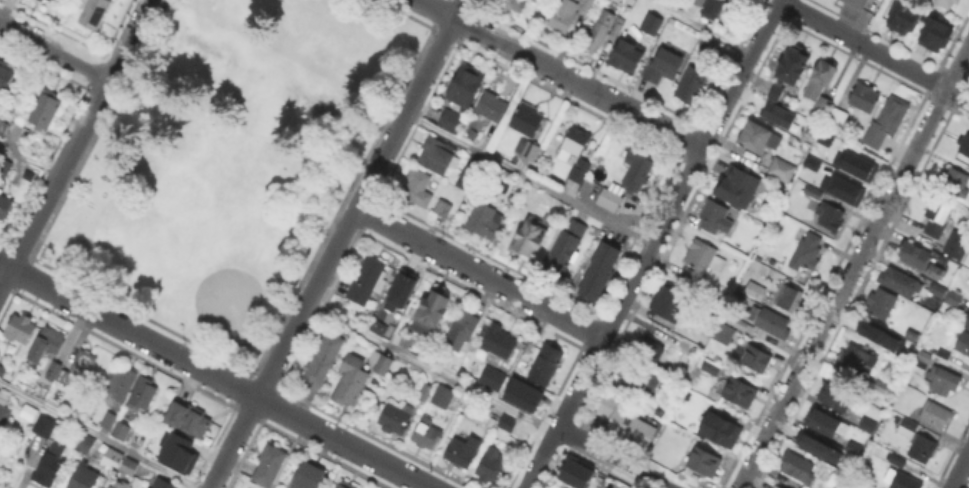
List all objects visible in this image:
building: (49, 0)
building: (747, 1)
building: (698, 2)
building: (857, 3)
building: (947, 3)
building: (510, 5)
building: (588, 5)
building: (715, 6)
building: (94, 13)
building: (899, 15)
building: (563, 17)
road: (872, 22)
building: (650, 23)
road: (698, 27)
building: (600, 32)
building: (932, 32)
building: (708, 44)
road: (873, 50)
road: (53, 51)
building: (624, 56)
building: (793, 65)
building: (662, 66)
road: (561, 74)
building: (5, 75)
park: (260, 75)
building: (692, 84)
building: (467, 86)
building: (773, 91)
building: (820, 91)
building: (865, 98)
building: (47, 108)
building: (493, 108)
building: (775, 113)
building: (837, 119)
building: (450, 121)
building: (528, 121)
building: (887, 123)
building: (3, 127)
building: (21, 134)
building: (822, 137)
building: (760, 139)
road: (74, 142)
building: (577, 142)
building: (964, 145)
building: (530, 151)
building: (439, 157)
road: (29, 158)
park: (229, 159)
building: (809, 161)
building: (853, 163)
building: (4, 166)
building: (580, 172)
building: (637, 173)
building: (780, 173)
building: (470, 174)
road: (528, 178)
building: (955, 183)
building: (738, 185)
building: (840, 188)
building: (418, 189)
building: (814, 193)
building: (610, 200)
building: (4, 205)
building: (444, 209)
building: (938, 216)
building: (715, 218)
building: (831, 218)
building: (485, 221)
building: (530, 238)
road: (336, 243)
road: (651, 244)
building: (957, 245)
building: (566, 248)
building: (808, 252)
building: (917, 256)
building: (702, 262)
road: (853, 265)
road: (479, 272)
building: (601, 273)
building: (937, 274)
building: (368, 282)
building: (904, 284)
building: (752, 289)
building: (398, 291)
building: (946, 295)
building: (791, 299)
building: (669, 304)
building: (881, 304)
building: (429, 311)
building: (773, 324)
building: (967, 324)
building: (375, 326)
building: (20, 328)
building: (462, 332)
building: (909, 333)
building: (877, 334)
building: (725, 336)
building: (48, 342)
building: (500, 343)
building: (964, 344)
building: (900, 345)
building: (647, 353)
building: (943, 355)
building: (324, 359)
building: (754, 359)
building: (858, 360)
building: (922, 360)
building: (382, 364)
building: (82, 365)
building: (547, 366)
building: (710, 366)
road: (429, 367)
building: (2, 371)
building: (58, 373)
road: (213, 375)
building: (493, 379)
building: (352, 381)
building: (638, 382)
building: (942, 382)
building: (122, 383)
building: (881, 388)
building: (423, 391)
building: (521, 393)
building: (740, 394)
building: (143, 395)
building: (836, 397)
building: (443, 398)
building: (4, 409)
building: (189, 415)
building: (937, 415)
building: (395, 417)
building: (108, 420)
building: (504, 421)
building: (823, 421)
building: (626, 422)
building: (865, 423)
building: (44, 425)
building: (908, 427)
building: (717, 428)
building: (122, 431)
building: (428, 435)
road: (98, 436)
building: (1, 438)
building: (86, 444)
building: (852, 447)
building: (820, 448)
building: (178, 449)
building: (2, 450)
building: (923, 450)
building: (463, 452)
building: (881, 452)
road: (613, 456)
building: (109, 457)
building: (896, 462)
building: (706, 463)
building: (51, 464)
building: (270, 466)
building: (492, 466)
building: (128, 468)
building: (798, 468)
road: (959, 470)
building: (578, 474)
building: (83, 476)
building: (309, 477)
building: (901, 480)
building: (163, 483)
building: (120, 484)
building: (346, 485)
building: (109, 487)
building: (775, 487)

